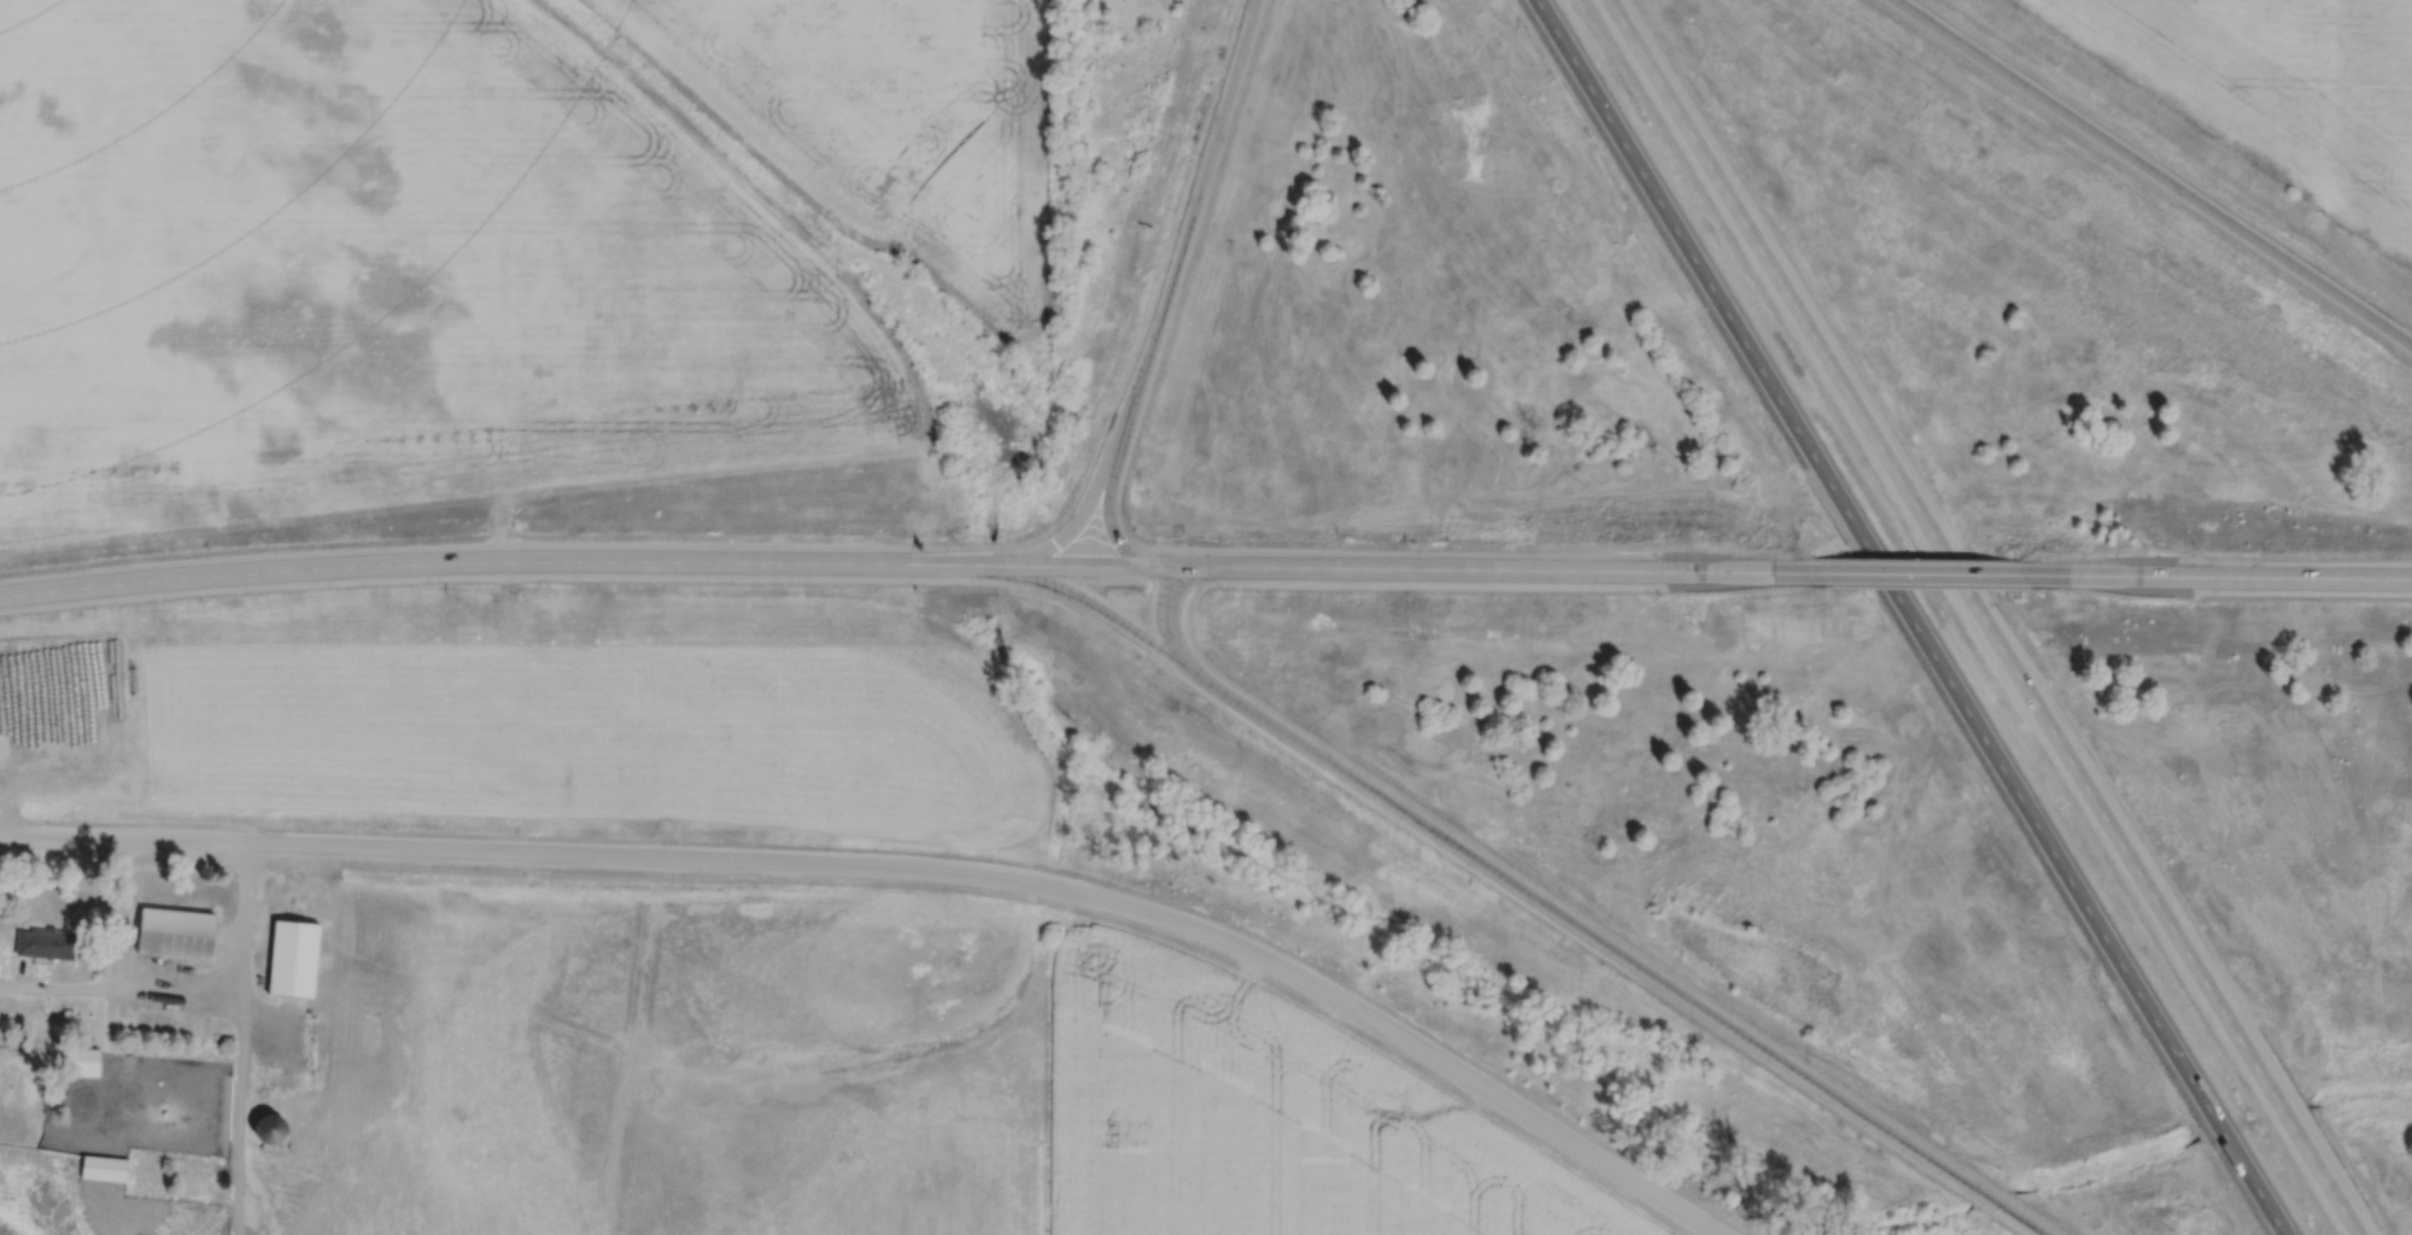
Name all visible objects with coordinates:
road: (2150, 175)
road: (1694, 270)
road: (1164, 283)
road: (819, 561)
road: (282, 567)
road: (1875, 567)
road: (1445, 569)
road: (1920, 573)
road: (2217, 575)
road: (1105, 613)
road: (1979, 617)
road: (904, 866)
road: (2084, 911)
road: (1574, 920)
building: (177, 930)
building: (46, 940)
building: (294, 955)
building: (0, 960)
building: (83, 1059)
building: (105, 1165)

